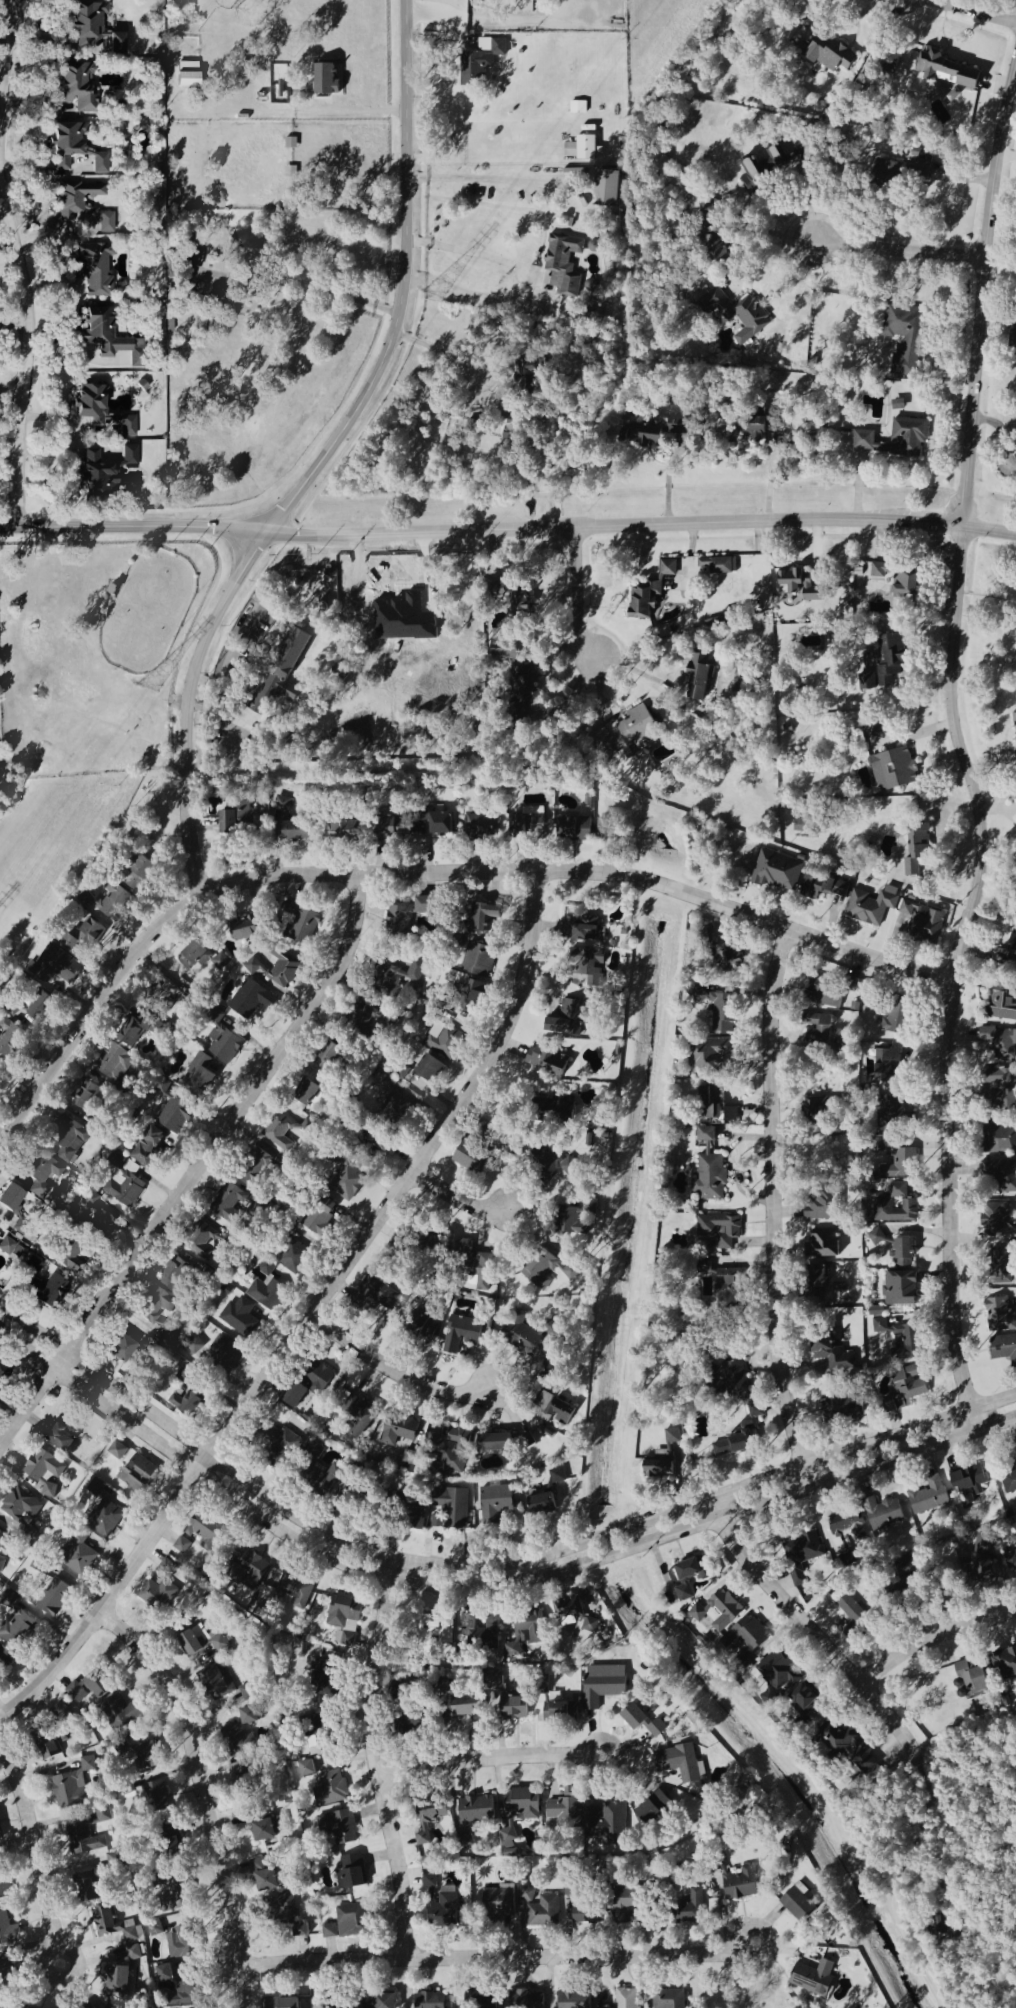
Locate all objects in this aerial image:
road: (975, 11)
building: (94, 29)
building: (831, 55)
road: (5, 57)
building: (480, 62)
building: (946, 70)
building: (187, 75)
building: (326, 80)
building: (78, 87)
building: (66, 145)
building: (581, 149)
building: (916, 154)
building: (99, 163)
building: (928, 165)
building: (890, 173)
building: (751, 176)
road: (486, 180)
building: (607, 189)
building: (82, 210)
road: (769, 229)
building: (592, 247)
road: (898, 249)
road: (467, 250)
building: (246, 252)
building: (194, 260)
road: (772, 264)
building: (563, 265)
building: (93, 270)
road: (255, 276)
road: (408, 289)
road: (981, 291)
power tower: (434, 292)
building: (736, 314)
building: (109, 337)
road: (28, 338)
building: (905, 340)
building: (1014, 341)
road: (441, 351)
building: (897, 404)
building: (101, 413)
building: (678, 426)
building: (757, 427)
building: (511, 432)
building: (642, 436)
road: (936, 442)
building: (130, 455)
road: (768, 473)
building: (96, 475)
road: (16, 508)
road: (640, 522)
road: (132, 528)
building: (718, 565)
building: (899, 580)
building: (800, 585)
building: (649, 592)
road: (576, 594)
building: (519, 605)
building: (719, 617)
building: (506, 650)
building: (885, 663)
building: (280, 672)
building: (696, 678)
building: (524, 682)
power tower: (145, 685)
road: (184, 706)
building: (1015, 726)
building: (626, 735)
building: (893, 769)
building: (283, 804)
building: (236, 818)
building: (527, 822)
building: (442, 823)
building: (477, 824)
building: (799, 826)
building: (392, 828)
building: (573, 828)
building: (343, 829)
building: (296, 830)
building: (919, 841)
building: (911, 867)
road: (583, 871)
building: (777, 871)
building: (141, 874)
building: (912, 880)
building: (814, 883)
building: (836, 887)
building: (115, 903)
building: (428, 906)
building: (871, 906)
building: (400, 921)
building: (923, 921)
building: (303, 925)
building: (244, 928)
building: (583, 928)
building: (90, 936)
building: (1008, 953)
building: (727, 957)
building: (203, 959)
building: (478, 960)
building: (587, 968)
building: (284, 970)
building: (415, 971)
road: (952, 975)
building: (392, 981)
building: (165, 990)
building: (472, 990)
building: (824, 995)
building: (252, 1000)
building: (1002, 1002)
building: (41, 1007)
road: (92, 1007)
building: (722, 1012)
building: (567, 1019)
building: (898, 1019)
building: (818, 1028)
building: (10, 1038)
building: (999, 1042)
building: (224, 1044)
building: (618, 1049)
building: (713, 1055)
building: (330, 1056)
building: (547, 1060)
building: (116, 1064)
building: (888, 1064)
building: (197, 1070)
building: (1002, 1087)
building: (307, 1092)
building: (86, 1095)
building: (393, 1098)
building: (564, 1108)
building: (715, 1108)
building: (891, 1109)
building: (174, 1116)
building: (284, 1132)
building: (706, 1134)
building: (69, 1138)
building: (999, 1138)
building: (148, 1147)
building: (897, 1158)
building: (471, 1159)
building: (255, 1167)
road: (199, 1168)
building: (43, 1175)
building: (709, 1177)
building: (1005, 1177)
building: (347, 1182)
building: (124, 1185)
building: (898, 1190)
building: (10, 1198)
road: (456, 1201)
building: (231, 1202)
building: (590, 1206)
road: (774, 1208)
building: (821, 1208)
building: (894, 1211)
building: (320, 1218)
building: (95, 1220)
building: (996, 1220)
building: (574, 1227)
building: (719, 1231)
building: (824, 1244)
building: (12, 1251)
building: (904, 1253)
building: (68, 1256)
building: (294, 1258)
building: (1001, 1266)
building: (266, 1267)
building: (540, 1269)
building: (478, 1270)
building: (174, 1275)
building: (819, 1283)
building: (727, 1285)
building: (900, 1289)
building: (382, 1292)
building: (266, 1294)
building: (155, 1307)
road: (309, 1316)
building: (999, 1316)
building: (239, 1317)
building: (461, 1333)
building: (533, 1336)
building: (899, 1338)
building: (121, 1349)
building: (1004, 1349)
building: (218, 1352)
building: (834, 1356)
road: (394, 1368)
building: (4, 1372)
building: (731, 1375)
building: (308, 1386)
building: (906, 1388)
building: (187, 1400)
building: (836, 1407)
building: (559, 1411)
building: (358, 1419)
building: (749, 1426)
building: (398, 1431)
building: (72, 1433)
building: (59, 1438)
building: (495, 1443)
building: (281, 1447)
building: (449, 1449)
building: (117, 1451)
building: (665, 1457)
building: (408, 1461)
building: (43, 1472)
building: (137, 1475)
building: (557, 1476)
building: (969, 1480)
building: (330, 1481)
building: (1009, 1482)
building: (928, 1497)
building: (494, 1503)
building: (541, 1503)
building: (19, 1508)
building: (455, 1509)
building: (884, 1514)
building: (105, 1519)
building: (436, 1522)
building: (1014, 1523)
building: (205, 1530)
building: (3, 1541)
building: (801, 1555)
building: (80, 1558)
building: (1011, 1560)
building: (1, 1564)
building: (37, 1566)
road: (482, 1567)
building: (252, 1568)
building: (985, 1568)
building: (687, 1579)
road: (483, 1588)
building: (293, 1590)
building: (157, 1595)
building: (54, 1598)
building: (577, 1616)
building: (851, 1617)
building: (344, 1619)
building: (18, 1630)
building: (478, 1632)
building: (525, 1633)
road: (817, 1633)
building: (432, 1634)
road: (934, 1638)
building: (746, 1640)
building: (201, 1644)
building: (1006, 1663)
building: (0, 1664)
building: (776, 1677)
building: (326, 1679)
building: (970, 1679)
building: (602, 1685)
building: (88, 1689)
building: (806, 1704)
building: (466, 1707)
building: (512, 1707)
building: (560, 1710)
building: (122, 1712)
building: (248, 1717)
building: (642, 1722)
building: (241, 1741)
building: (315, 1744)
road: (588, 1747)
building: (849, 1747)
building: (49, 1750)
building: (146, 1756)
road: (369, 1759)
road: (478, 1761)
building: (680, 1764)
building: (87, 1765)
building: (307, 1769)
building: (240, 1776)
building: (330, 1789)
building: (69, 1791)
road: (203, 1793)
building: (156, 1794)
building: (522, 1805)
building: (654, 1809)
building: (476, 1811)
building: (566, 1811)
building: (428, 1820)
building: (607, 1823)
building: (338, 1827)
building: (267, 1830)
road: (918, 1834)
building: (86, 1839)
building: (508, 1842)
road: (29, 1843)
building: (113, 1860)
building: (350, 1874)
building: (264, 1875)
building: (740, 1885)
building: (89, 1887)
building: (498, 1902)
road: (885, 1902)
building: (439, 1903)
building: (799, 1904)
building: (626, 1905)
building: (539, 1908)
building: (689, 1909)
building: (287, 1913)
building: (585, 1915)
building: (351, 1921)
building: (115, 1926)
building: (8, 1931)
building: (156, 1931)
building: (329, 1932)
building: (181, 1943)
road: (44, 1951)
road: (491, 1957)
road: (755, 1957)
building: (6, 1973)
building: (814, 1978)
building: (177, 1991)
building: (625, 1998)
building: (668, 1999)
building: (524, 2000)
building: (573, 2000)
building: (379, 2001)
building: (428, 2001)
building: (282, 2003)
building: (98, 2006)

